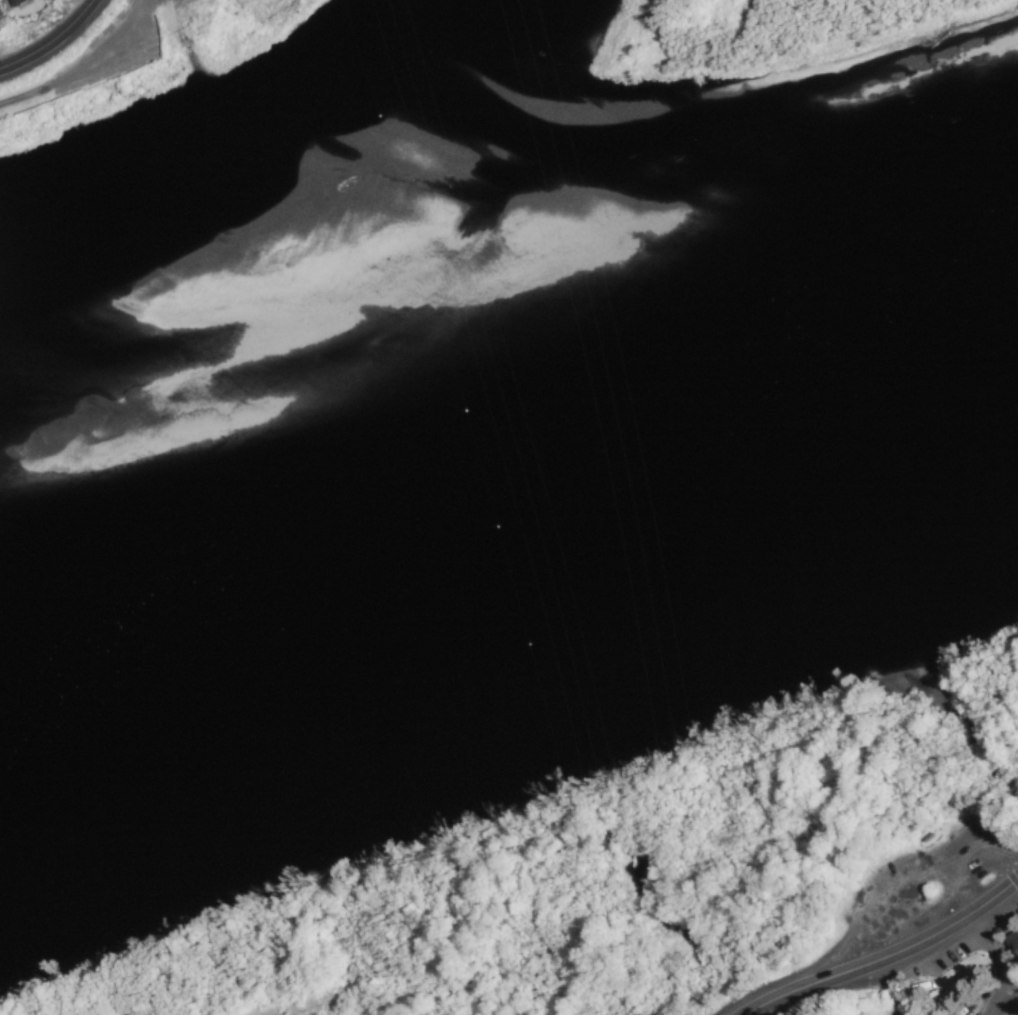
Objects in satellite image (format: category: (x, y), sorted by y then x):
building: (16, 2)
road: (51, 41)
river: (510, 532)
building: (1013, 948)
road: (889, 959)

